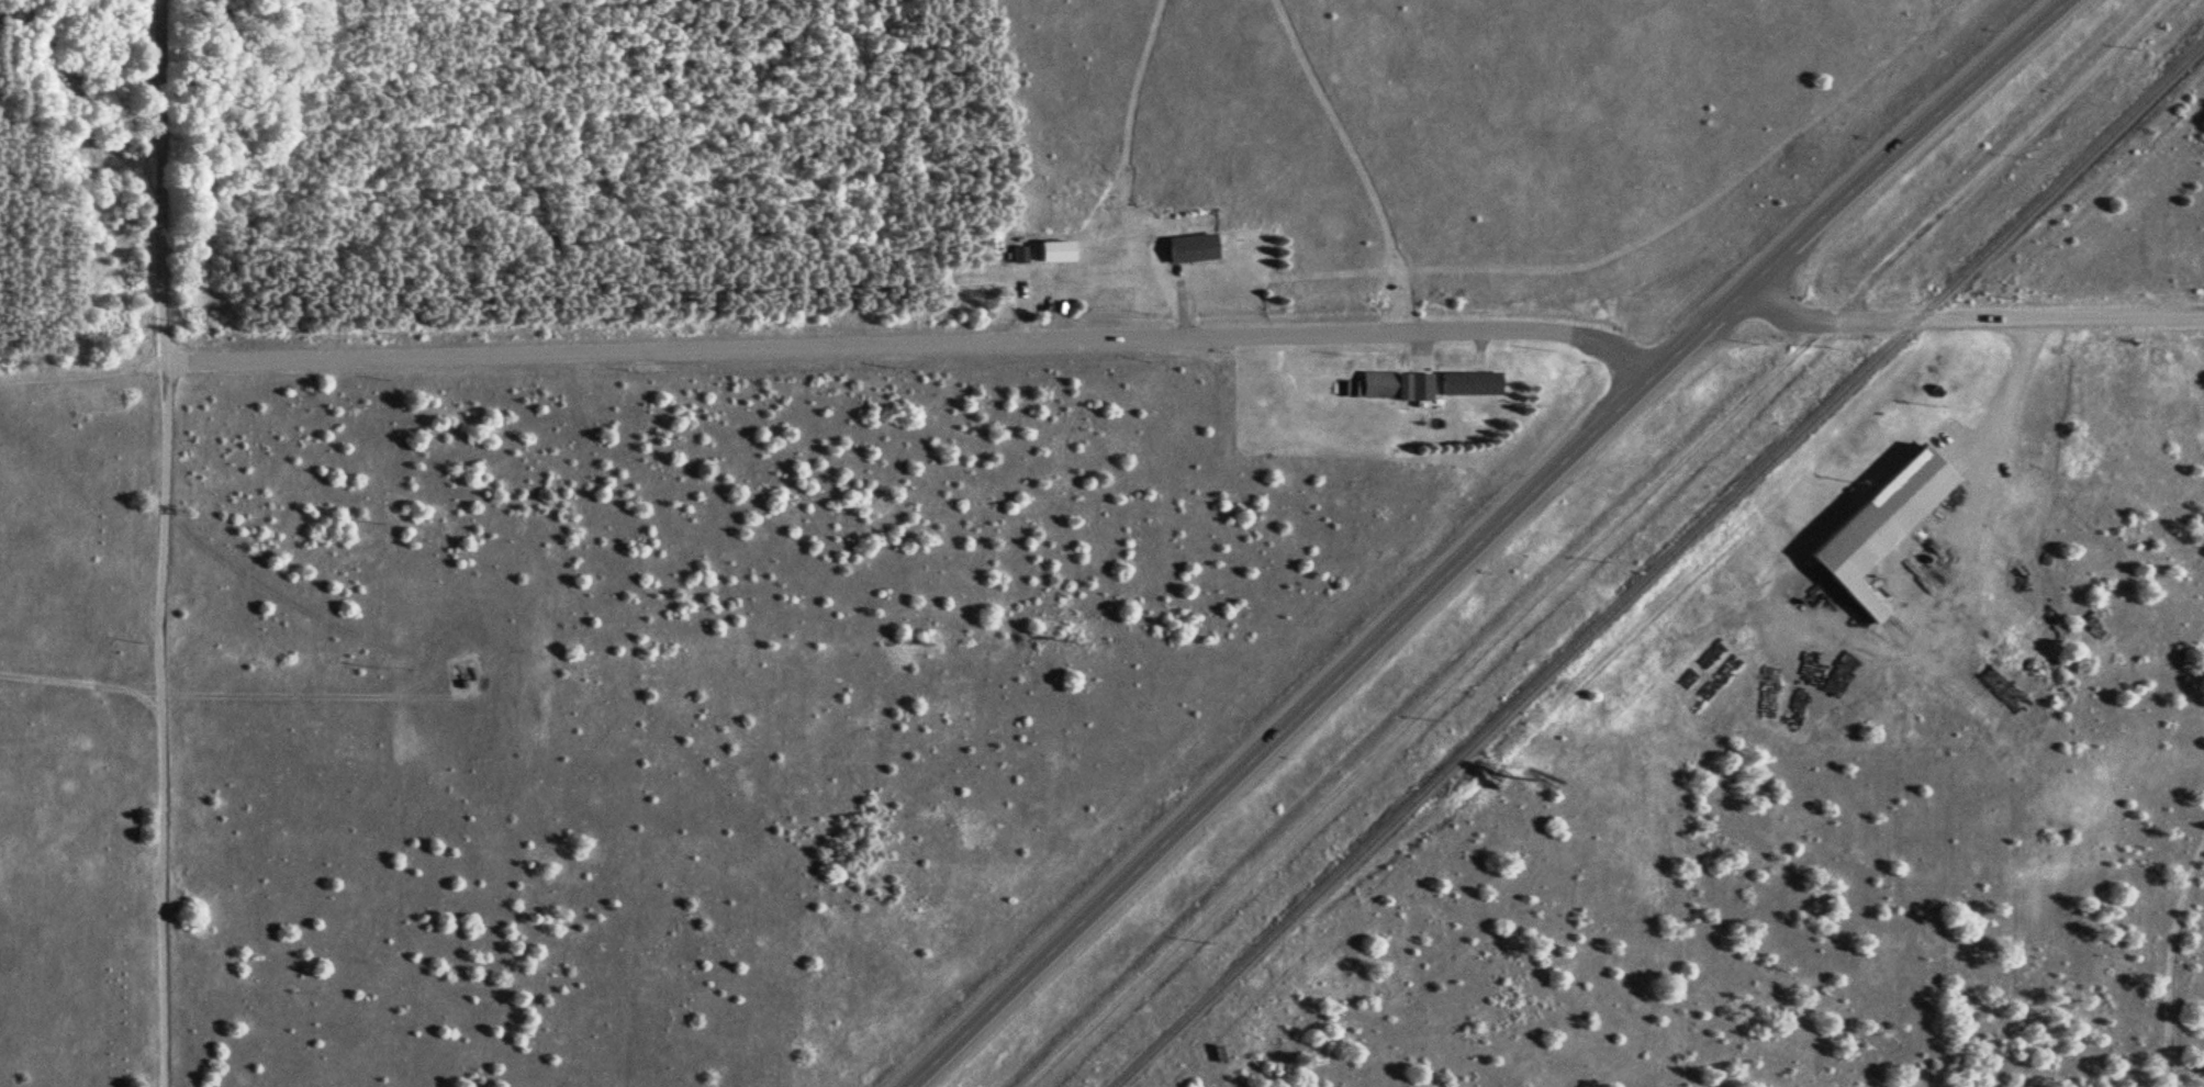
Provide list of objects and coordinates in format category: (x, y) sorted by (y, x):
road: (1996, 161)
building: (1191, 249)
building: (1019, 255)
road: (1781, 311)
road: (2021, 318)
road: (1828, 323)
road: (911, 346)
road: (81, 374)
building: (1470, 385)
building: (1397, 386)
building: (1879, 523)
road: (1483, 538)
road: (1939, 539)
road: (159, 542)
railway: (1659, 564)
petroleum well: (466, 679)
building: (1910, 688)
road: (78, 692)
road: (1406, 696)
road: (399, 697)
road: (2167, 961)

